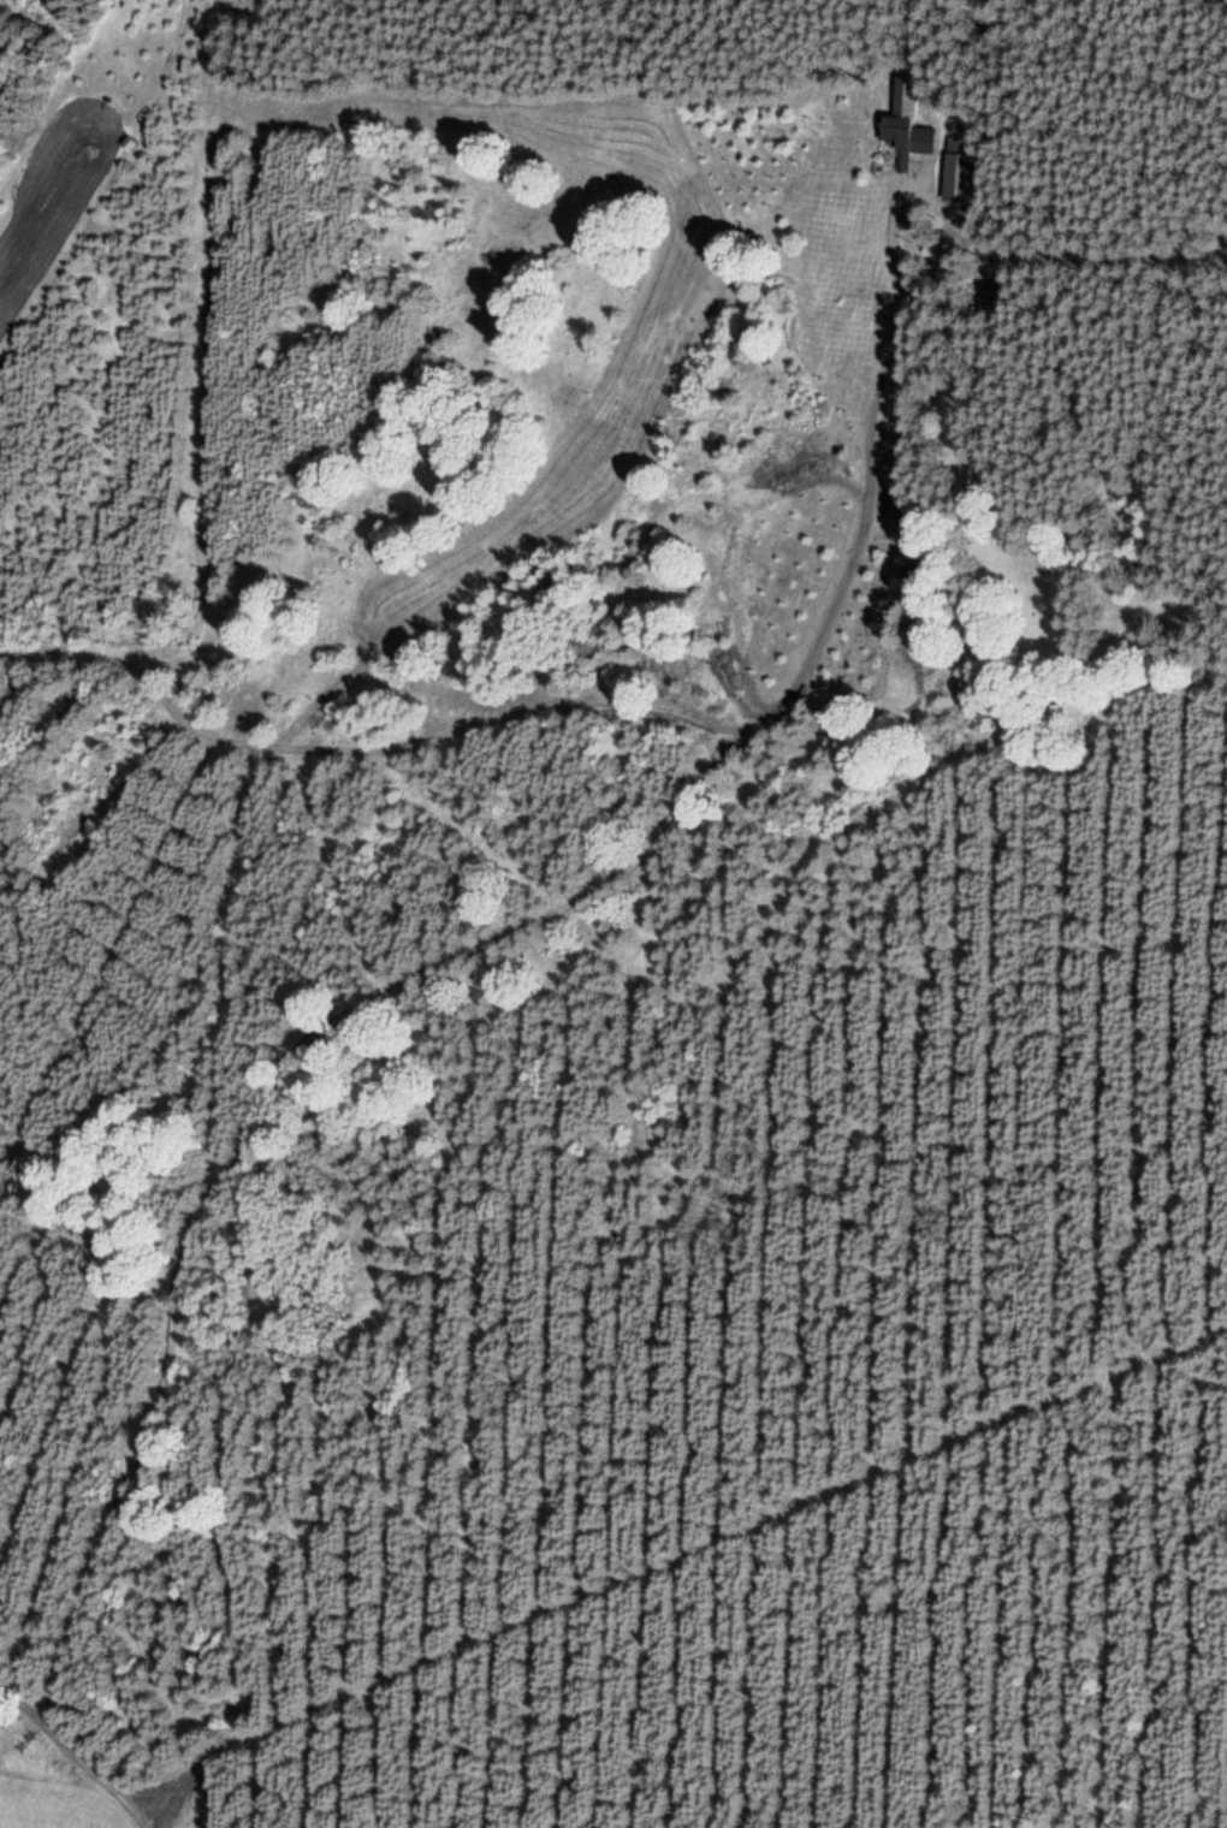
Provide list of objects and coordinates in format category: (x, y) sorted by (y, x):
road: (1081, 254)
road: (615, 707)
road: (75, 1755)

